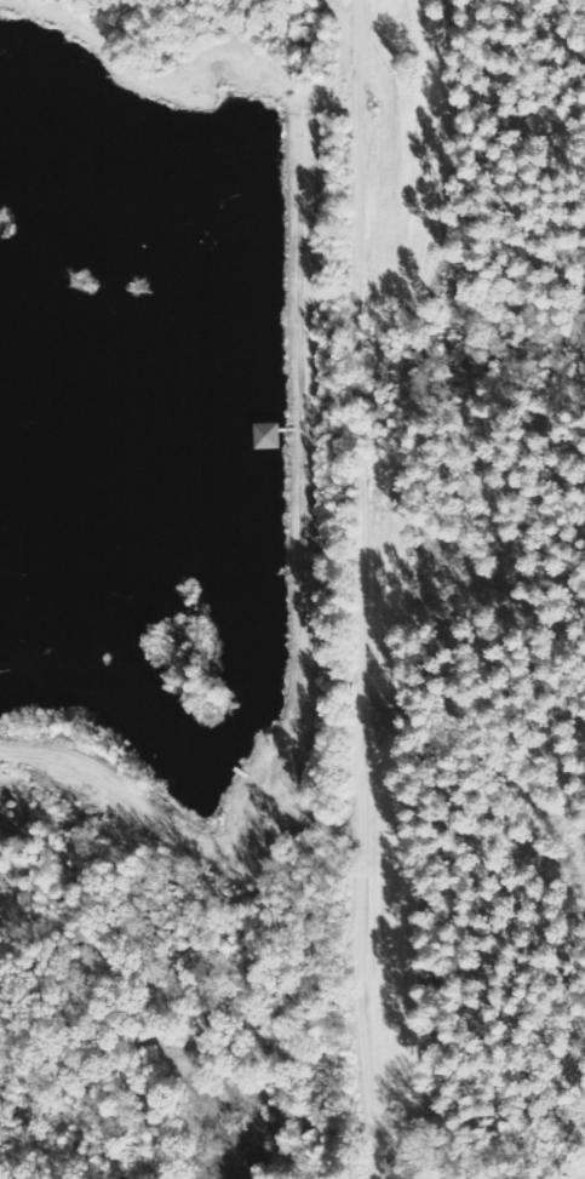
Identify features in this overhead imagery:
building: (270, 434)

